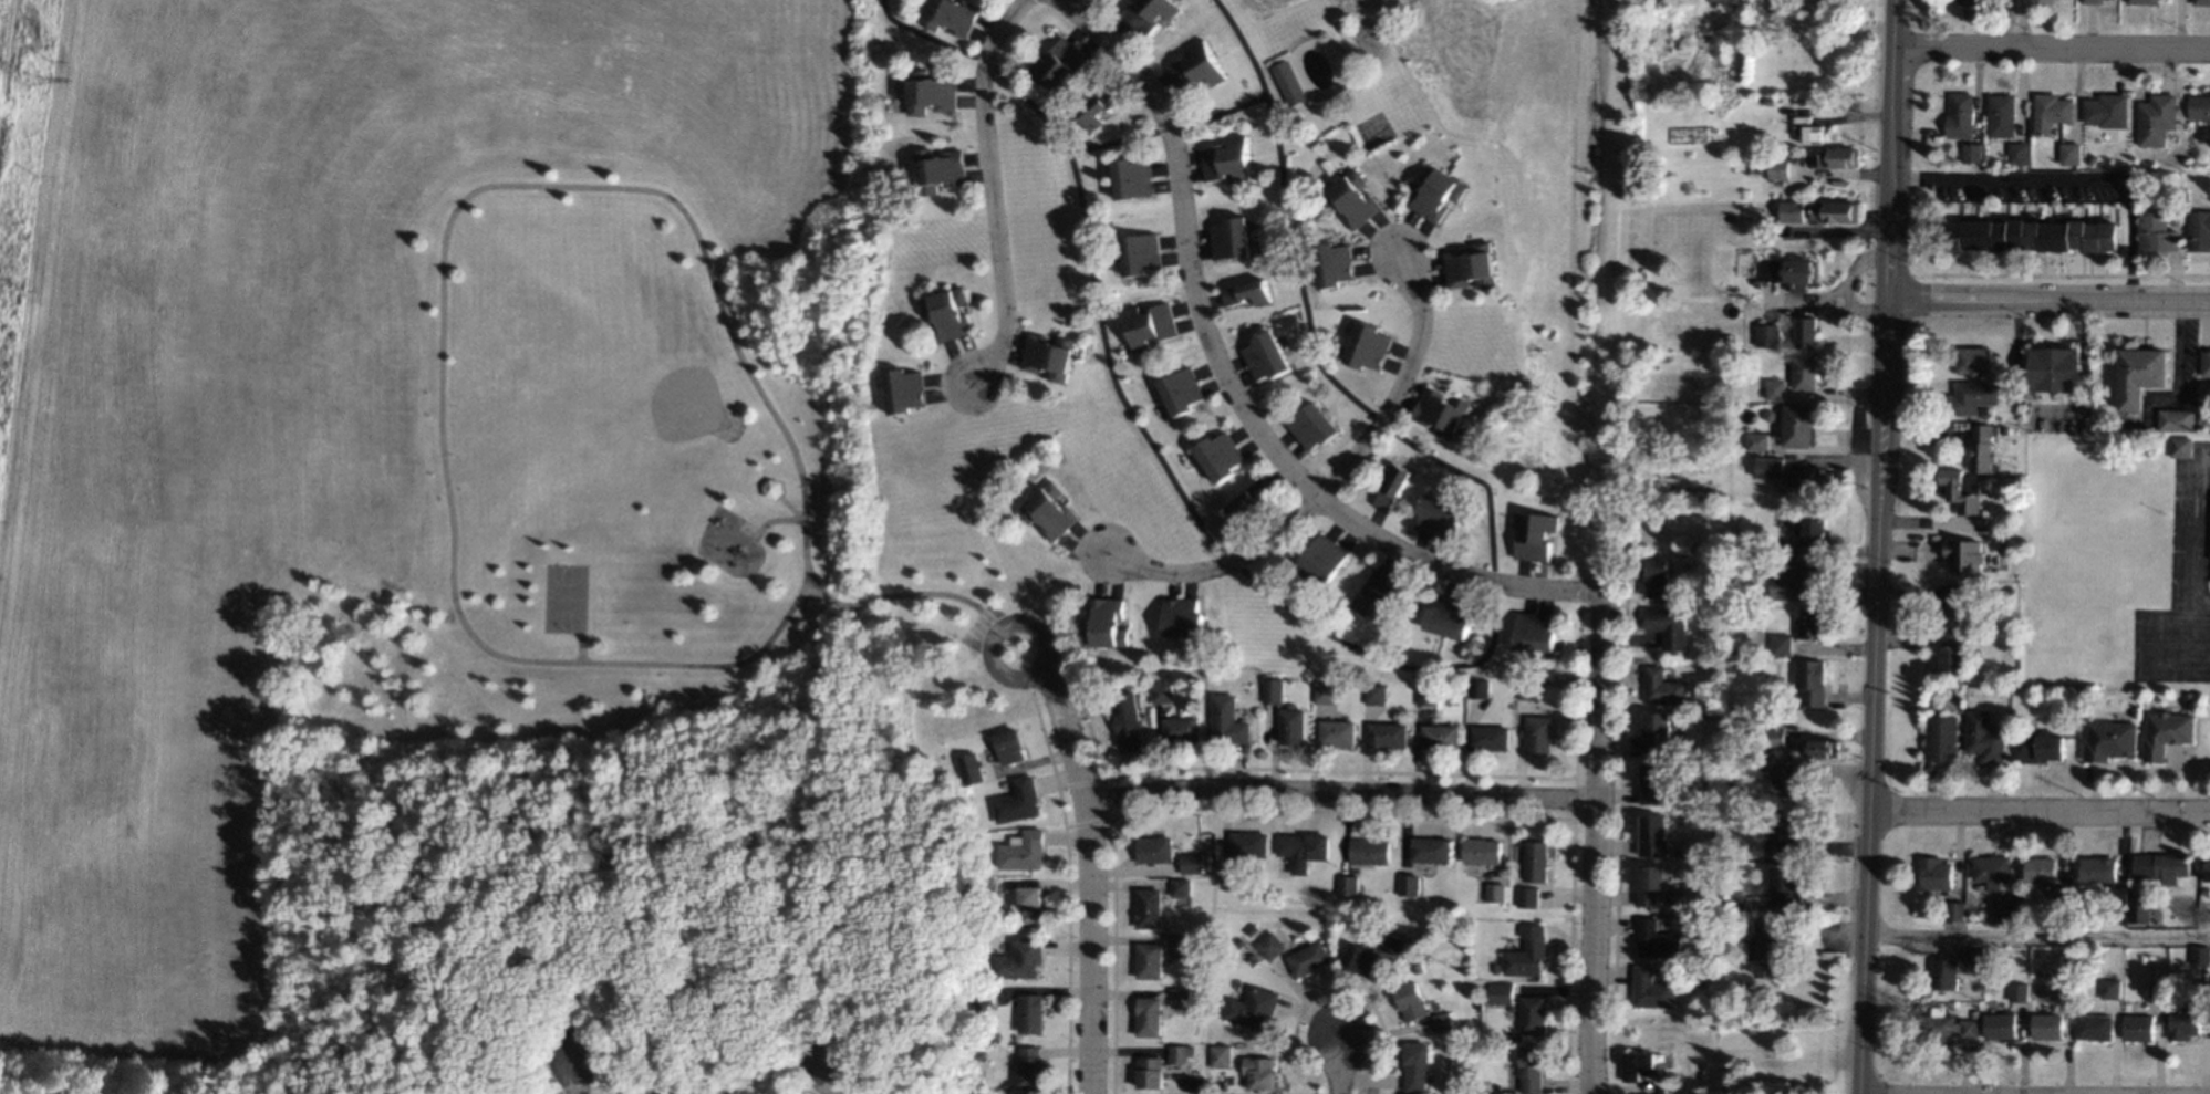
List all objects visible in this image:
building: (2047, 1)
building: (2096, 1)
building: (2146, 1)
building: (1736, 2)
building: (2203, 2)
building: (1975, 3)
building: (1767, 4)
building: (1999, 7)
building: (1149, 13)
building: (952, 14)
road: (2020, 23)
building: (1705, 31)
road: (923, 33)
road: (2050, 48)
road: (985, 62)
building: (1060, 64)
building: (1196, 67)
building: (1287, 82)
building: (931, 91)
building: (1768, 101)
building: (1099, 106)
building: (2200, 107)
building: (2110, 110)
road: (1222, 112)
building: (2054, 112)
building: (2004, 115)
building: (1963, 116)
building: (2159, 119)
road: (1166, 128)
building: (1806, 129)
road: (1111, 140)
building: (1975, 152)
building: (2022, 153)
building: (2073, 154)
building: (1838, 157)
building: (2094, 158)
building: (1226, 159)
building: (1777, 168)
building: (940, 169)
building: (2133, 175)
road: (2064, 177)
building: (1132, 178)
road: (994, 190)
building: (1435, 192)
road: (470, 194)
building: (1350, 198)
building: (2207, 205)
building: (2155, 207)
building: (1791, 211)
building: (1834, 211)
road: (1285, 212)
building: (2200, 231)
building: (2160, 232)
building: (2035, 235)
building: (1228, 239)
building: (1139, 253)
building: (1332, 263)
building: (1470, 265)
building: (1789, 270)
building: (1245, 292)
road: (2046, 298)
road: (1096, 310)
building: (947, 313)
building: (1149, 324)
building: (1804, 332)
building: (1767, 334)
building: (1367, 346)
road: (2178, 347)
building: (1048, 355)
building: (1264, 355)
building: (1976, 361)
building: (2207, 363)
building: (2058, 368)
building: (1803, 373)
building: (2144, 375)
road: (1395, 386)
park: (662, 388)
building: (1774, 388)
building: (903, 389)
building: (1180, 390)
road: (1235, 390)
building: (1976, 396)
building: (1440, 411)
building: (2023, 411)
building: (2204, 411)
building: (1767, 415)
building: (2179, 419)
road: (1377, 420)
building: (1797, 425)
building: (1310, 426)
building: (1631, 435)
building: (1757, 440)
building: (1716, 445)
building: (1985, 446)
building: (2183, 446)
building: (2005, 447)
building: (1218, 455)
building: (1768, 467)
road: (1470, 477)
building: (1814, 478)
building: (1390, 485)
building: (771, 488)
building: (1964, 490)
building: (1248, 500)
building: (2020, 504)
building: (1048, 510)
building: (1436, 514)
road: (774, 520)
building: (1815, 530)
road: (2191, 530)
building: (1532, 534)
building: (1784, 544)
road: (1875, 546)
building: (1968, 554)
building: (1324, 556)
road: (1231, 560)
road: (1217, 564)
park: (470, 565)
building: (1656, 577)
road: (1491, 581)
building: (1795, 581)
building: (2012, 590)
building: (1378, 595)
park: (563, 596)
building: (1960, 602)
building: (1182, 616)
building: (1449, 616)
building: (1812, 622)
building: (1104, 623)
building: (1667, 625)
building: (1534, 631)
road: (1038, 636)
building: (1781, 643)
road: (580, 647)
building: (1955, 654)
road: (1382, 658)
building: (1731, 668)
building: (1809, 681)
building: (1661, 686)
building: (1478, 688)
building: (1273, 689)
building: (1527, 689)
building: (1162, 692)
building: (1324, 692)
building: (1374, 694)
building: (1426, 695)
building: (2191, 697)
building: (1127, 720)
building: (1227, 720)
building: (1290, 725)
building: (1181, 729)
building: (1654, 731)
building: (1336, 732)
building: (1537, 732)
building: (1754, 732)
building: (1774, 732)
building: (2168, 732)
building: (1386, 734)
building: (1439, 736)
building: (1487, 737)
building: (1986, 737)
building: (1944, 738)
building: (2110, 740)
building: (1008, 746)
building: (1710, 746)
building: (2043, 747)
building: (1819, 748)
building: (1755, 767)
building: (969, 768)
building: (1704, 774)
building: (1651, 782)
building: (1785, 785)
road: (1340, 790)
building: (1742, 796)
building: (1017, 800)
road: (2038, 810)
road: (1594, 827)
building: (1784, 833)
building: (1651, 835)
building: (1247, 844)
building: (1303, 845)
building: (1154, 848)
building: (1368, 850)
building: (1430, 850)
building: (1480, 850)
building: (1023, 851)
building: (1534, 861)
building: (1191, 863)
building: (2165, 866)
building: (2042, 868)
building: (2100, 868)
building: (1993, 869)
building: (2208, 869)
building: (1227, 873)
building: (1938, 873)
road: (1088, 875)
building: (1407, 884)
building: (1648, 884)
building: (1346, 885)
building: (1785, 886)
building: (1982, 886)
building: (986, 887)
building: (1180, 887)
building: (1493, 892)
building: (1525, 895)
building: (2065, 896)
building: (2119, 896)
building: (1028, 905)
building: (1739, 906)
building: (1148, 907)
building: (2009, 907)
building: (2142, 908)
building: (1957, 909)
building: (1701, 926)
road: (2036, 935)
building: (1653, 938)
building: (1392, 944)
building: (1266, 945)
building: (1181, 946)
building: (1768, 949)
building: (1976, 951)
building: (2201, 955)
building: (1252, 957)
building: (1523, 957)
building: (1020, 958)
building: (1306, 958)
building: (1359, 959)
building: (1149, 960)
building: (1978, 967)
building: (1493, 968)
building: (1698, 973)
building: (1946, 973)
building: (2072, 978)
building: (2158, 986)
building: (2112, 988)
building: (1650, 989)
building: (2020, 990)
building: (1503, 992)
building: (2066, 993)
building: (983, 996)
building: (1180, 997)
building: (1409, 1000)
building: (1715, 1004)
building: (1249, 1007)
building: (1028, 1013)
building: (1978, 1013)
building: (1528, 1014)
building: (1146, 1017)
building: (1743, 1020)
building: (1442, 1021)
building: (1617, 1021)
building: (2186, 1022)
building: (1938, 1025)
building: (2048, 1025)
building: (2002, 1027)
building: (2096, 1027)
building: (2140, 1027)
building: (1970, 1028)
building: (1180, 1052)
building: (979, 1053)
building: (1218, 1055)
building: (1636, 1064)
road: (1339, 1065)
building: (1414, 1065)
building: (1028, 1066)
building: (1527, 1067)
building: (1258, 1071)
building: (1150, 1072)
road: (578, 1080)
road: (829, 1080)
building: (1716, 1080)
building: (1692, 1086)
building: (1492, 1087)
park: (197, 1092)
building: (665, 1093)

